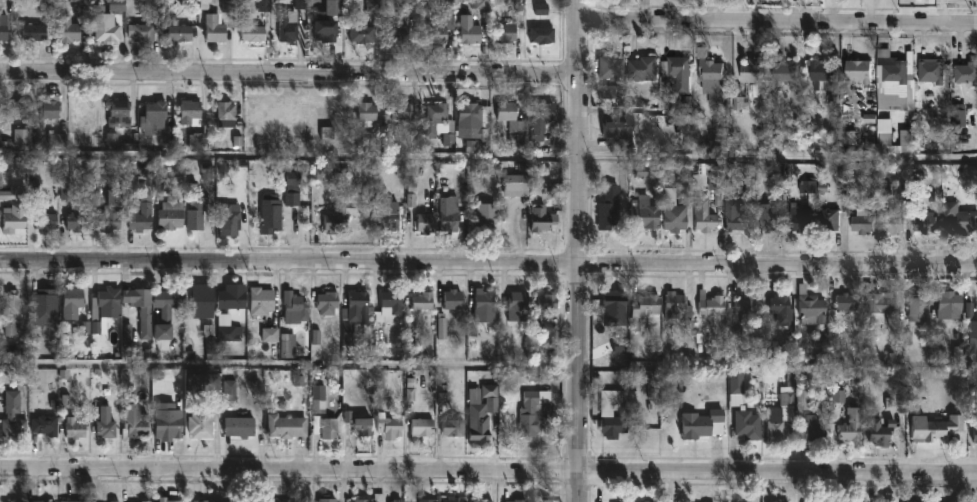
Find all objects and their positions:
building: (116, 7)
building: (334, 9)
building: (1, 18)
road: (777, 20)
building: (289, 26)
building: (440, 27)
building: (216, 29)
building: (70, 30)
building: (181, 30)
building: (471, 30)
building: (2, 31)
building: (142, 31)
building: (38, 32)
building: (254, 32)
building: (108, 33)
building: (397, 33)
building: (509, 33)
building: (328, 34)
building: (364, 34)
building: (545, 35)
building: (611, 67)
building: (645, 69)
building: (857, 69)
building: (782, 70)
building: (929, 70)
road: (289, 73)
building: (677, 73)
building: (821, 73)
building: (966, 73)
building: (708, 74)
building: (744, 82)
building: (894, 82)
building: (51, 108)
building: (16, 111)
building: (191, 111)
building: (368, 111)
building: (400, 113)
building: (474, 113)
building: (81, 114)
building: (120, 114)
building: (227, 114)
building: (156, 116)
building: (435, 118)
building: (543, 120)
building: (514, 123)
building: (620, 128)
building: (881, 133)
building: (24, 137)
building: (481, 139)
building: (200, 141)
road: (488, 157)
building: (779, 174)
building: (62, 177)
building: (517, 183)
building: (814, 188)
building: (15, 192)
building: (684, 194)
building: (293, 200)
building: (611, 206)
building: (112, 210)
building: (648, 212)
building: (196, 214)
building: (271, 214)
building: (391, 214)
building: (451, 214)
building: (737, 214)
building: (172, 215)
building: (486, 215)
building: (676, 215)
building: (706, 215)
building: (771, 215)
building: (140, 217)
building: (802, 217)
building: (832, 217)
building: (12, 218)
building: (230, 218)
building: (544, 218)
building: (958, 219)
building: (861, 220)
building: (891, 220)
building: (78, 221)
building: (337, 221)
building: (44, 222)
building: (428, 222)
building: (925, 223)
road: (578, 250)
road: (488, 261)
building: (75, 297)
building: (235, 297)
building: (173, 298)
building: (203, 298)
building: (876, 299)
building: (263, 300)
building: (425, 300)
building: (141, 301)
building: (842, 301)
building: (46, 302)
building: (330, 303)
building: (713, 303)
building: (359, 304)
building: (808, 304)
building: (946, 304)
building: (679, 305)
building: (106, 306)
building: (486, 306)
building: (519, 306)
building: (545, 306)
building: (296, 307)
building: (779, 307)
building: (914, 307)
building: (646, 308)
building: (745, 310)
building: (388, 311)
building: (12, 313)
building: (442, 313)
building: (228, 330)
building: (970, 347)
road: (289, 368)
building: (206, 385)
building: (491, 396)
building: (608, 410)
building: (743, 411)
building: (538, 412)
building: (14, 414)
building: (777, 414)
building: (134, 416)
building: (202, 424)
building: (393, 424)
building: (704, 424)
building: (45, 425)
building: (848, 425)
building: (170, 426)
building: (288, 426)
building: (480, 426)
building: (238, 427)
building: (423, 427)
building: (810, 427)
building: (932, 427)
building: (76, 428)
building: (328, 428)
building: (363, 428)
building: (452, 428)
building: (107, 430)
building: (973, 430)
building: (877, 431)
road: (488, 472)
building: (381, 497)
building: (455, 497)
building: (328, 499)
building: (361, 500)
building: (399, 500)
building: (484, 500)
building: (520, 500)
building: (546, 500)
building: (775, 500)
building: (828, 500)
building: (882, 500)
building: (18, 501)
building: (38, 501)
building: (76, 501)
building: (115, 501)
building: (146, 501)
building: (173, 501)
building: (209, 501)
building: (273, 501)
building: (389, 501)
building: (627, 501)
building: (649, 501)
building: (884, 501)
building: (974, 501)

